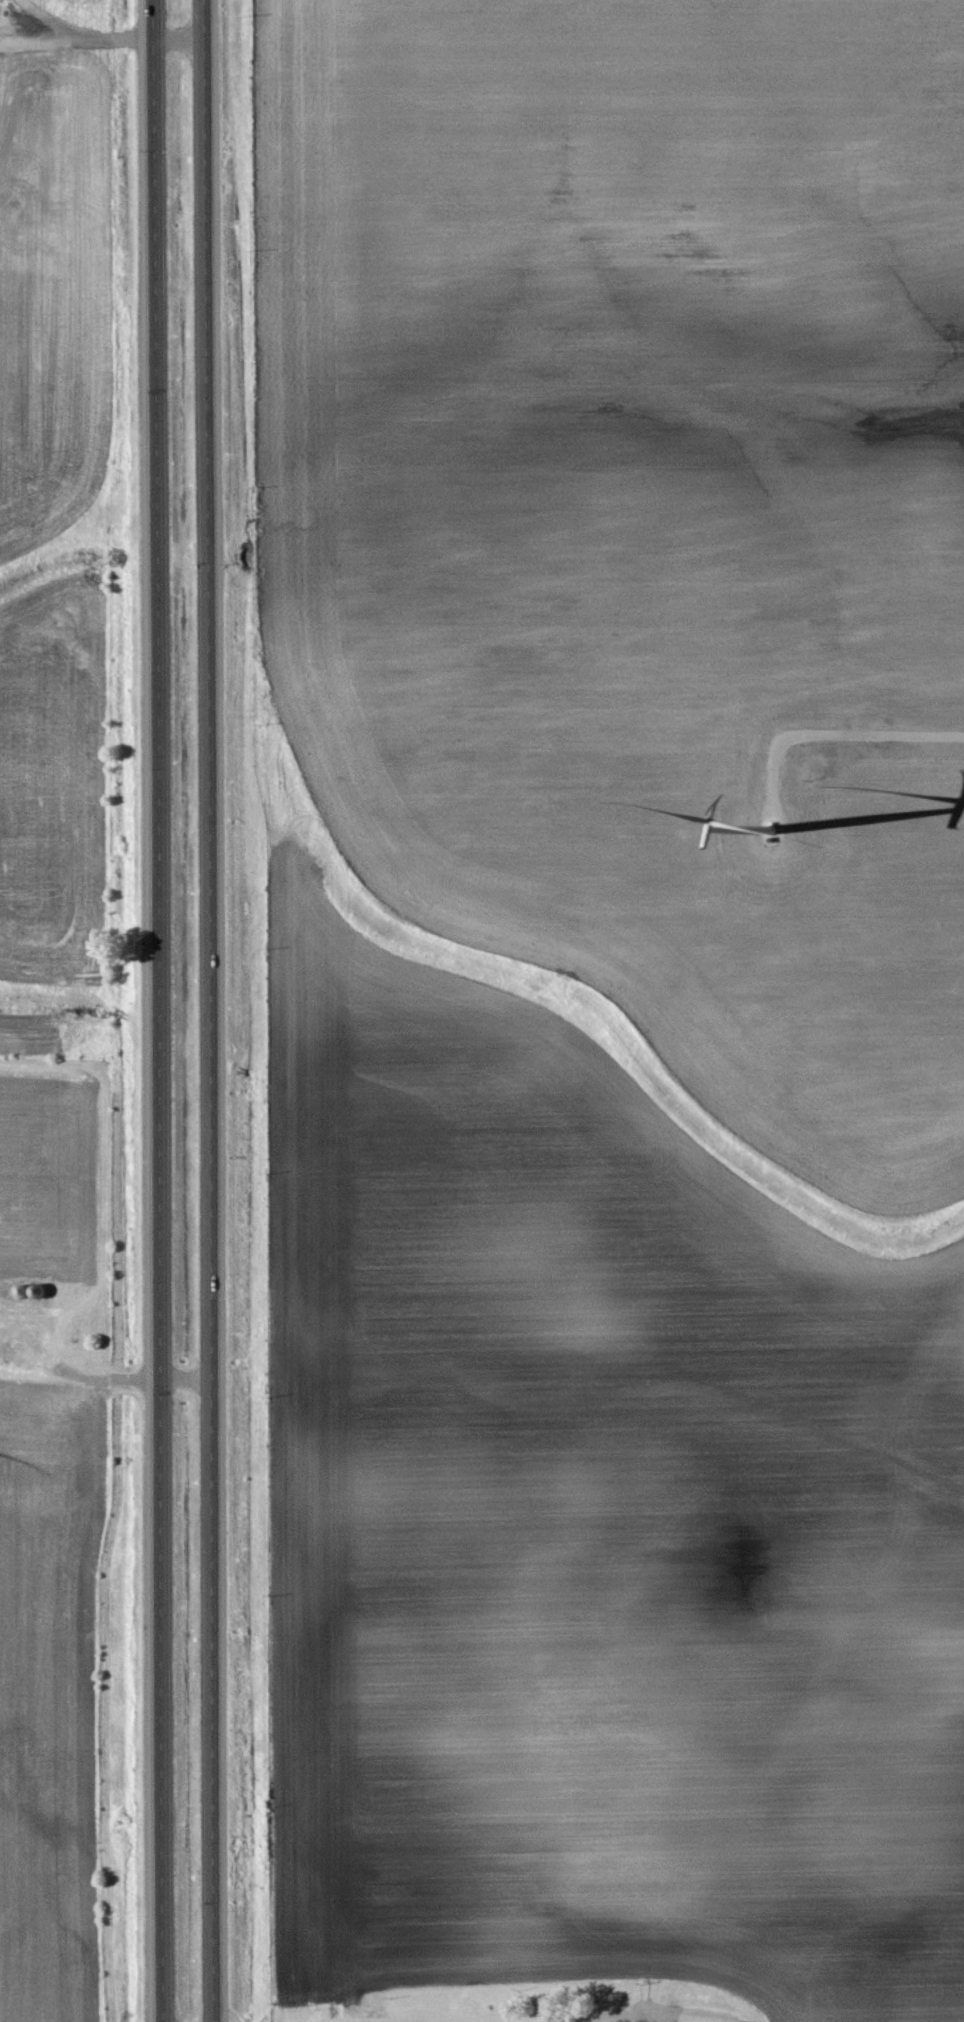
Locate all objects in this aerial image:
road: (866, 735)
wind turbine: (760, 822)
road: (161, 1010)
road: (213, 1010)
road: (611, 2017)

